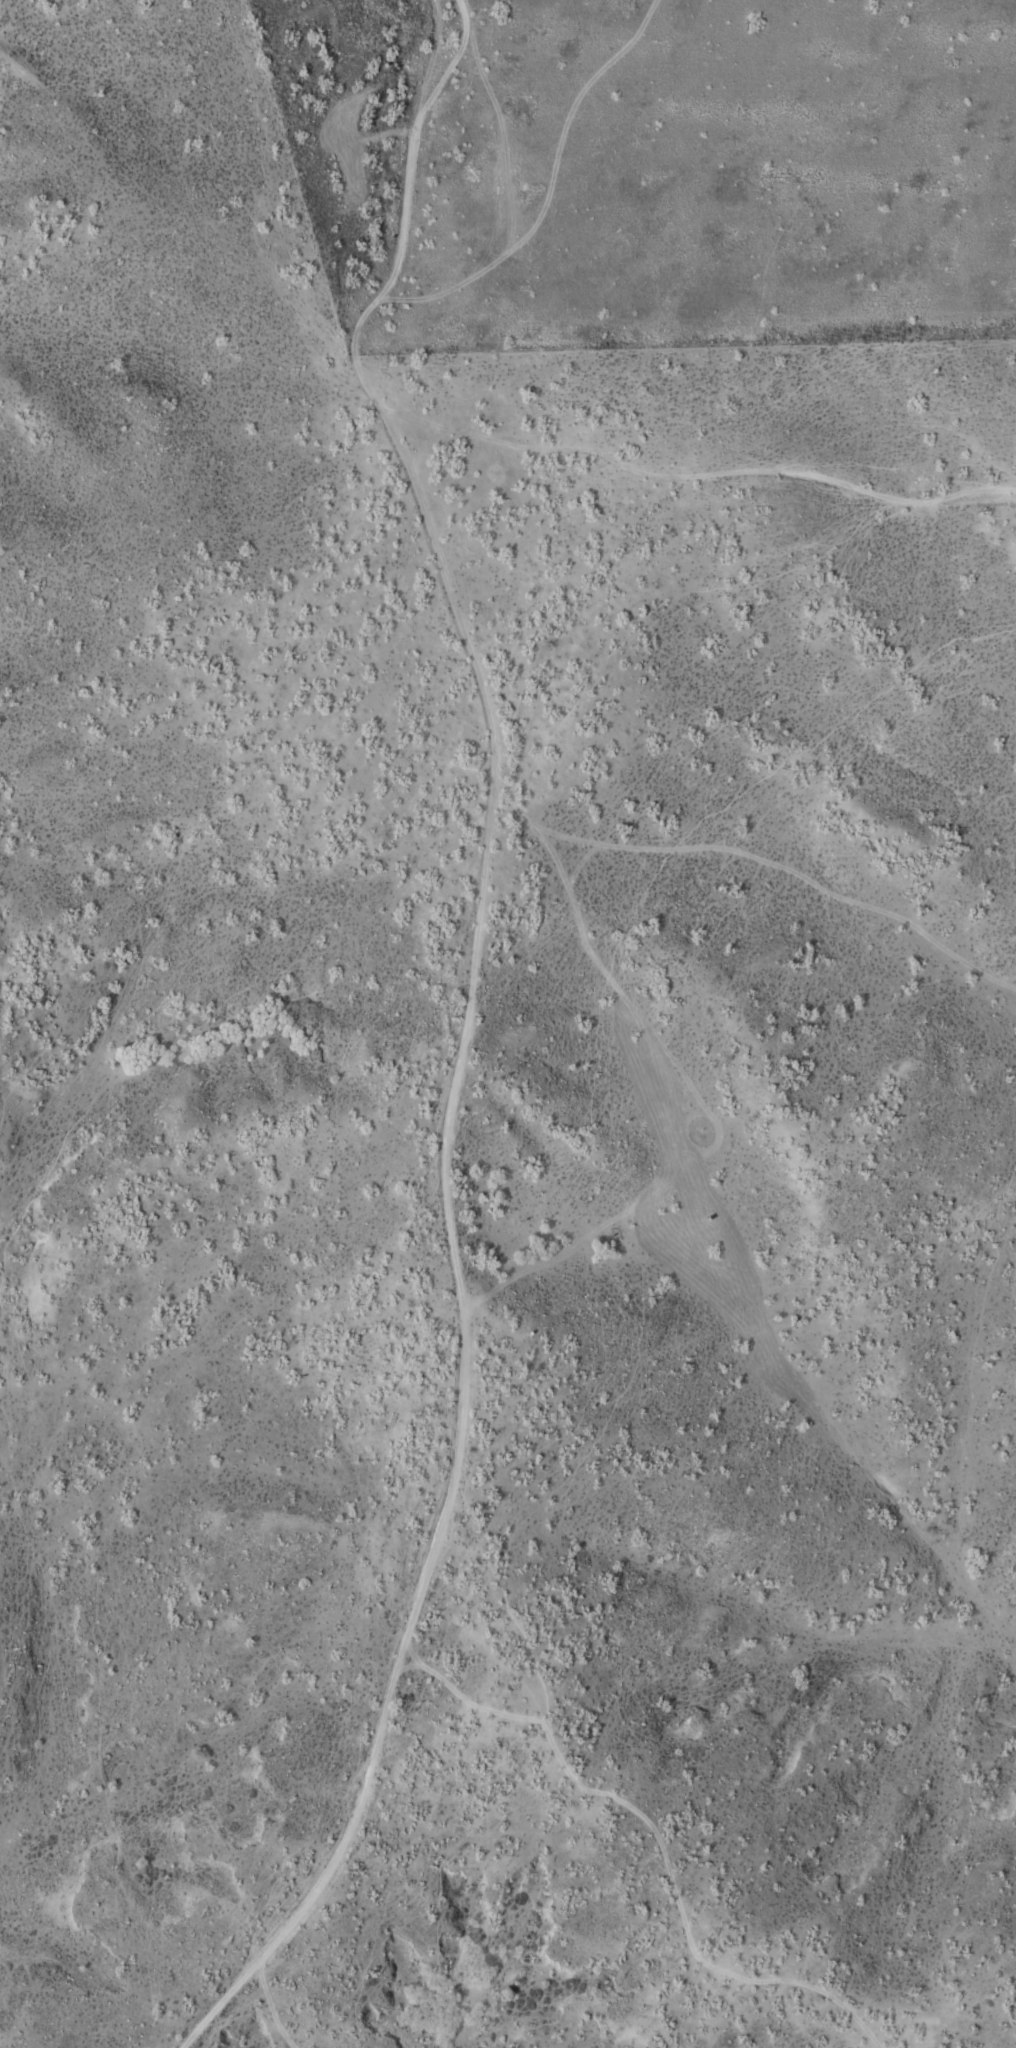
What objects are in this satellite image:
road: (438, 1094)

